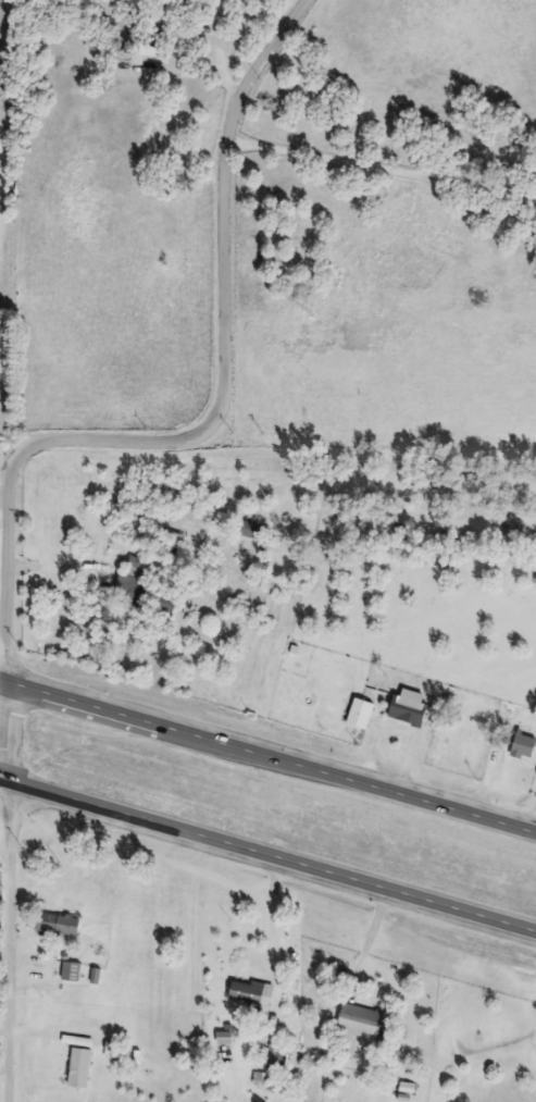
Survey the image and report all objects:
road: (379, 176)
road: (222, 412)
building: (249, 531)
building: (146, 597)
building: (410, 709)
building: (362, 715)
road: (9, 729)
road: (267, 748)
building: (526, 748)
road: (5, 834)
road: (267, 858)
road: (272, 917)
building: (58, 926)
road: (10, 943)
building: (72, 973)
building: (247, 994)
building: (362, 1024)
building: (278, 1058)
building: (82, 1069)

